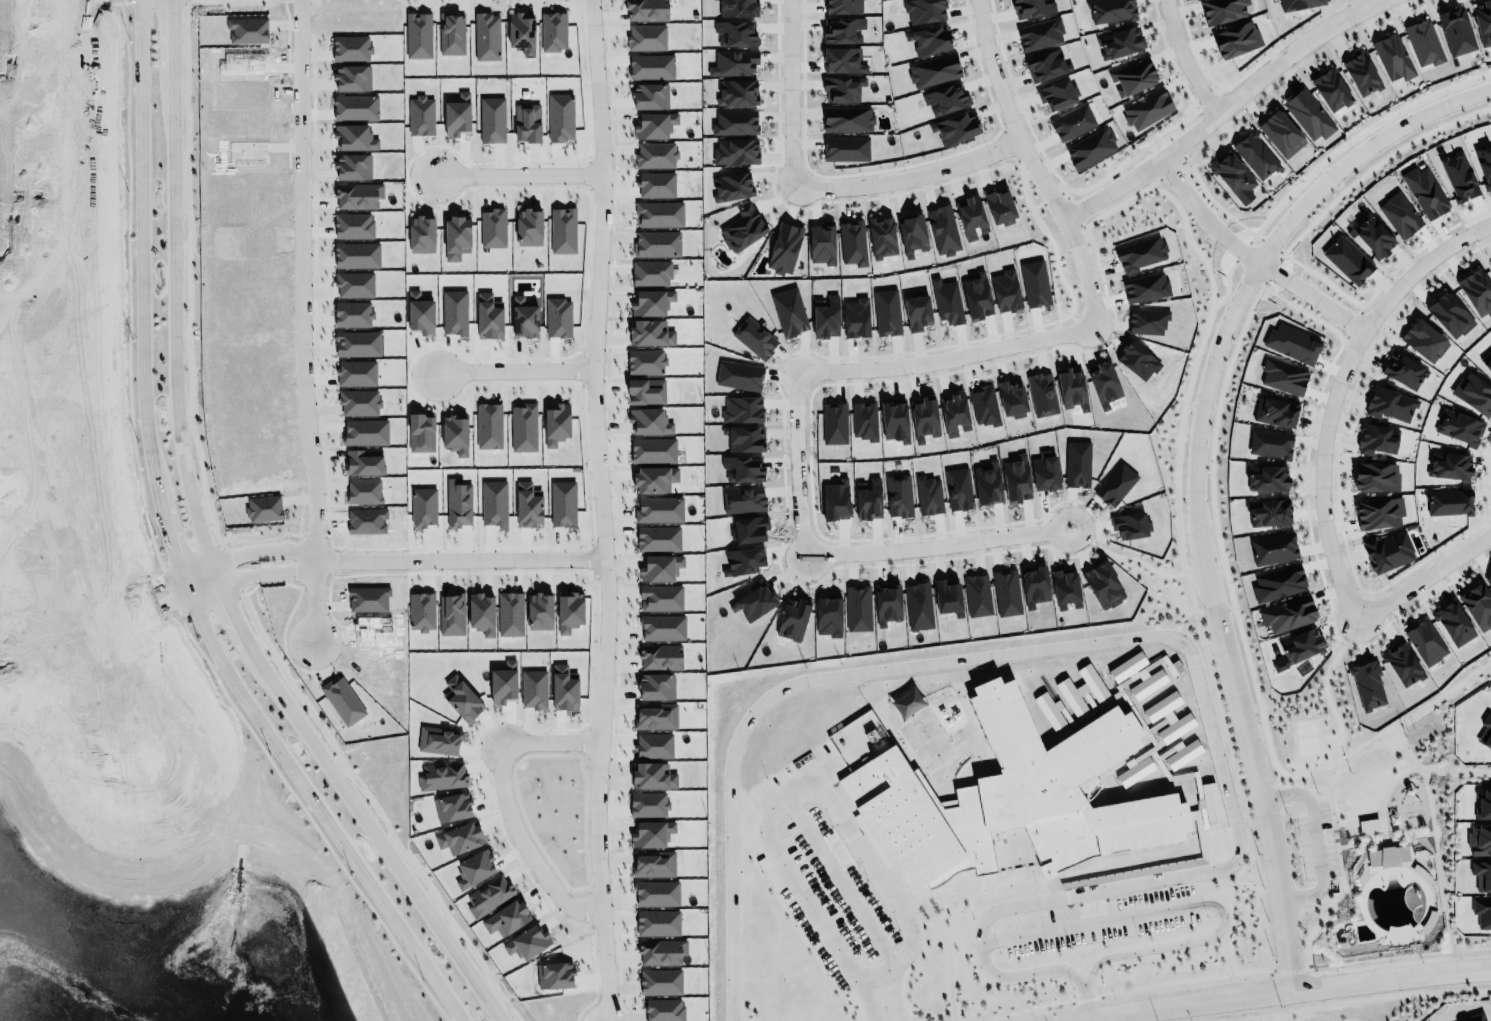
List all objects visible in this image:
road: (299, 0)
road: (317, 0)
road: (188, 1)
road: (235, 1)
road: (120, 2)
road: (153, 2)
road: (1363, 3)
building: (1298, 4)
building: (842, 6)
building: (737, 7)
building: (1032, 8)
building: (646, 9)
building: (1110, 9)
building: (1222, 10)
building: (924, 11)
building: (1483, 21)
building: (843, 30)
building: (522, 31)
building: (553, 31)
building: (1456, 31)
building: (451, 33)
building: (735, 33)
building: (1040, 34)
building: (417, 35)
road: (171, 36)
building: (486, 36)
building: (646, 36)
building: (1235, 36)
building: (928, 39)
building: (1120, 42)
building: (1422, 42)
building: (350, 48)
building: (1392, 56)
building: (844, 58)
road: (1184, 59)
building: (733, 63)
building: (1045, 65)
building: (651, 66)
building: (933, 69)
building: (1360, 72)
building: (1132, 76)
building: (352, 77)
building: (1331, 87)
building: (841, 89)
road: (17, 91)
building: (737, 92)
building: (1056, 94)
building: (650, 96)
building: (943, 96)
building: (1146, 106)
building: (355, 107)
road: (1222, 108)
building: (457, 114)
building: (1309, 114)
building: (421, 115)
building: (560, 117)
building: (846, 117)
building: (492, 119)
building: (528, 120)
building: (1072, 121)
building: (735, 122)
building: (654, 125)
building: (954, 127)
building: (1280, 132)
building: (354, 133)
road: (35, 136)
building: (1089, 145)
building: (845, 147)
building: (736, 151)
building: (1255, 154)
building: (656, 155)
building: (1482, 158)
building: (353, 166)
road: (1030, 166)
road: (518, 175)
road: (588, 175)
building: (1459, 176)
building: (1233, 177)
building: (656, 184)
road: (811, 185)
building: (732, 186)
building: (1425, 191)
building: (356, 194)
building: (999, 205)
building: (658, 212)
building: (1400, 214)
building: (970, 216)
building: (353, 225)
building: (743, 226)
building: (492, 227)
building: (529, 227)
building: (941, 227)
building: (562, 230)
building: (912, 232)
building: (421, 234)
building: (1373, 235)
building: (456, 236)
building: (879, 236)
building: (852, 242)
building: (657, 243)
building: (822, 243)
building: (783, 246)
building: (1141, 252)
building: (357, 254)
road: (1247, 254)
building: (1347, 260)
building: (1490, 261)
road: (586, 263)
road: (315, 267)
building: (651, 272)
road: (13, 273)
road: (188, 274)
building: (1035, 283)
building: (354, 284)
road: (128, 286)
building: (1146, 287)
building: (1005, 290)
building: (1476, 291)
building: (975, 297)
building: (946, 301)
building: (651, 302)
building: (789, 311)
building: (886, 311)
building: (917, 312)
building: (353, 313)
building: (420, 313)
building: (1450, 313)
building: (825, 316)
building: (488, 317)
building: (856, 317)
building: (524, 318)
road: (174, 320)
road: (302, 321)
building: (650, 331)
building: (754, 338)
building: (1424, 340)
building: (1292, 341)
building: (356, 343)
road: (945, 360)
building: (1487, 360)
building: (645, 361)
road: (581, 369)
building: (1405, 369)
road: (514, 371)
building: (356, 372)
building: (1282, 375)
building: (1103, 383)
road: (1328, 386)
building: (1072, 389)
building: (646, 390)
building: (1473, 392)
building: (1042, 394)
building: (1013, 397)
building: (359, 402)
building: (1390, 404)
building: (742, 409)
building: (1273, 409)
building: (954, 413)
building: (924, 415)
building: (554, 421)
building: (649, 421)
building: (894, 421)
building: (487, 424)
building: (523, 427)
building: (1460, 427)
building: (365, 431)
building: (455, 433)
building: (745, 438)
building: (1376, 439)
building: (1270, 442)
building: (653, 449)
road: (19, 451)
building: (364, 461)
building: (1450, 465)
road: (795, 466)
building: (742, 468)
road: (1192, 472)
building: (1045, 473)
building: (1269, 475)
building: (1375, 475)
building: (654, 479)
building: (1016, 480)
building: (986, 484)
building: (364, 490)
building: (898, 495)
building: (928, 495)
building: (743, 499)
building: (835, 499)
building: (868, 499)
building: (1448, 500)
building: (562, 503)
building: (659, 508)
road: (600, 510)
building: (1266, 511)
building: (1378, 511)
road: (614, 512)
building: (740, 523)
road: (315, 533)
road: (61, 538)
building: (658, 538)
road: (260, 540)
road: (330, 540)
road: (936, 547)
road: (174, 548)
building: (1273, 548)
building: (1388, 551)
road: (267, 552)
road: (190, 555)
road: (462, 558)
road: (299, 559)
road: (331, 561)
road: (233, 567)
building: (660, 567)
road: (198, 571)
road: (1419, 573)
road: (253, 574)
building: (1488, 580)
building: (1278, 582)
road: (269, 583)
building: (1034, 583)
building: (1103, 585)
road: (314, 586)
road: (170, 590)
road: (137, 591)
building: (1006, 592)
building: (977, 594)
building: (660, 597)
building: (754, 601)
road: (210, 602)
building: (887, 602)
building: (1477, 603)
road: (230, 605)
building: (918, 605)
building: (858, 608)
building: (569, 611)
road: (144, 612)
building: (1288, 614)
road: (94, 618)
building: (792, 619)
building: (1452, 619)
building: (663, 627)
road: (1137, 635)
road: (44, 636)
building: (1426, 640)
building: (1303, 642)
building: (661, 656)
building: (1402, 663)
road: (318, 670)
building: (1366, 682)
building: (656, 686)
building: (533, 688)
road: (122, 696)
building: (342, 700)
building: (656, 716)
road: (505, 717)
building: (1485, 732)
road: (588, 740)
building: (654, 745)
building: (652, 775)
road: (796, 787)
building: (1009, 794)
road: (504, 800)
building: (1483, 802)
building: (648, 804)
road: (377, 808)
road: (310, 819)
building: (1369, 825)
road: (371, 832)
building: (651, 833)
building: (1479, 839)
road: (1315, 841)
building: (1387, 855)
road: (546, 857)
building: (654, 864)
building: (474, 868)
road: (833, 869)
building: (1480, 871)
building: (656, 892)
road: (1181, 902)
road: (589, 904)
building: (1482, 911)
building: (657, 922)
building: (527, 942)
building: (661, 951)
road: (595, 975)
river: (74, 980)
building: (661, 981)
road: (1276, 990)
road: (883, 992)
road: (857, 996)
building: (665, 1009)
road: (1101, 1016)
road: (1076, 1019)
building: (1480, 1019)

